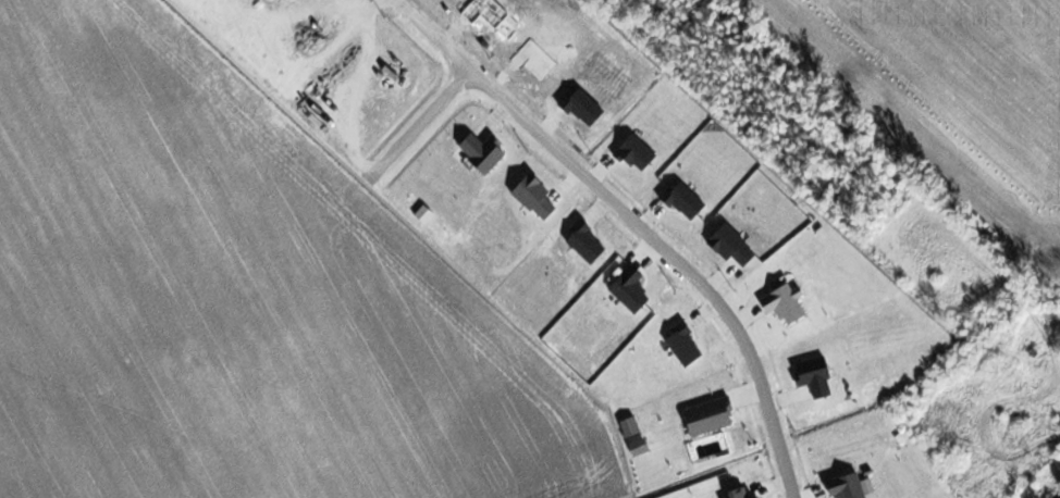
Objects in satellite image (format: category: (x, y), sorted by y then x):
road: (423, 125)
road: (648, 236)

